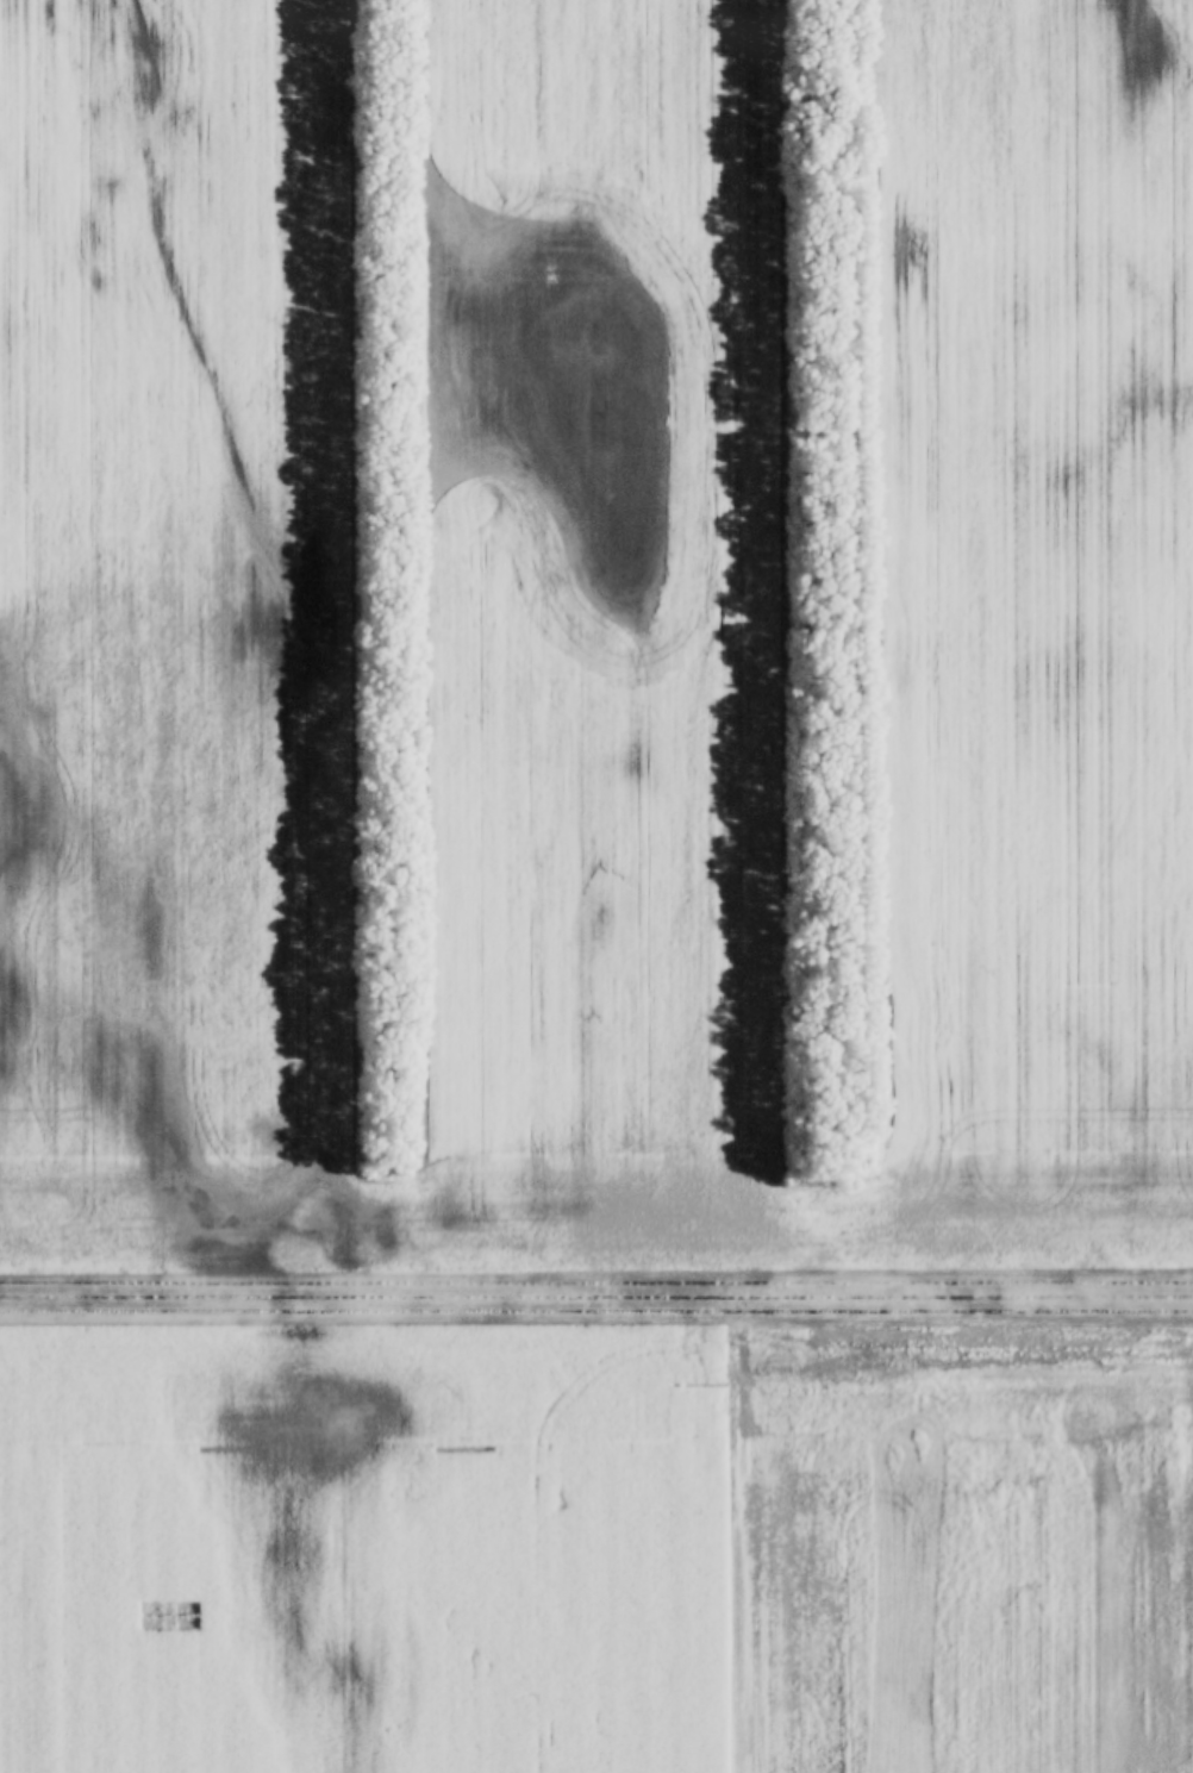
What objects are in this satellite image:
road: (770, 1376)

